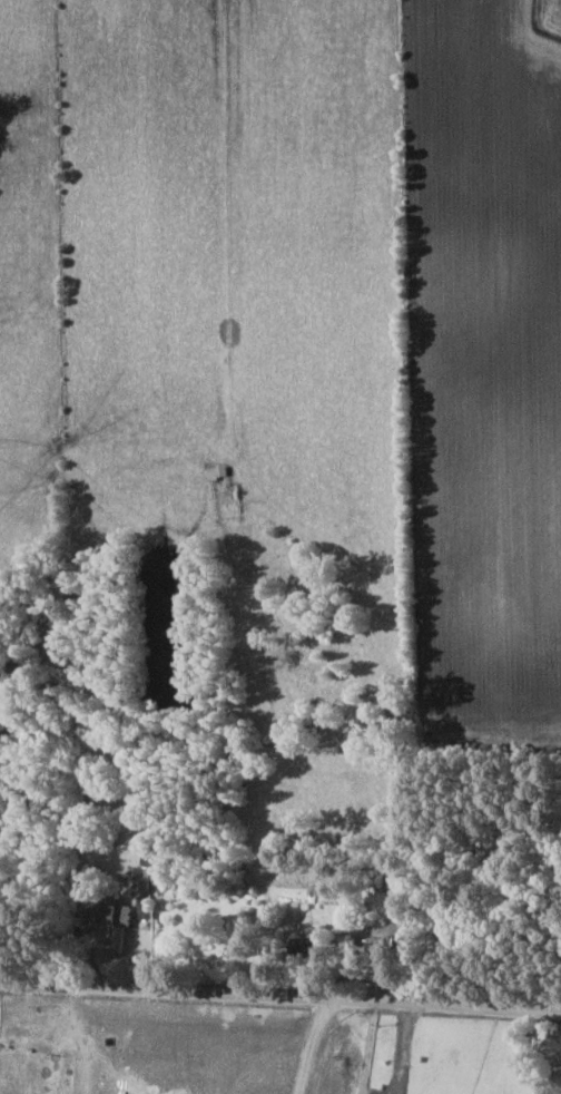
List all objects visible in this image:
building: (396, 880)
building: (119, 925)
building: (380, 945)
road: (280, 989)
road: (402, 1045)

